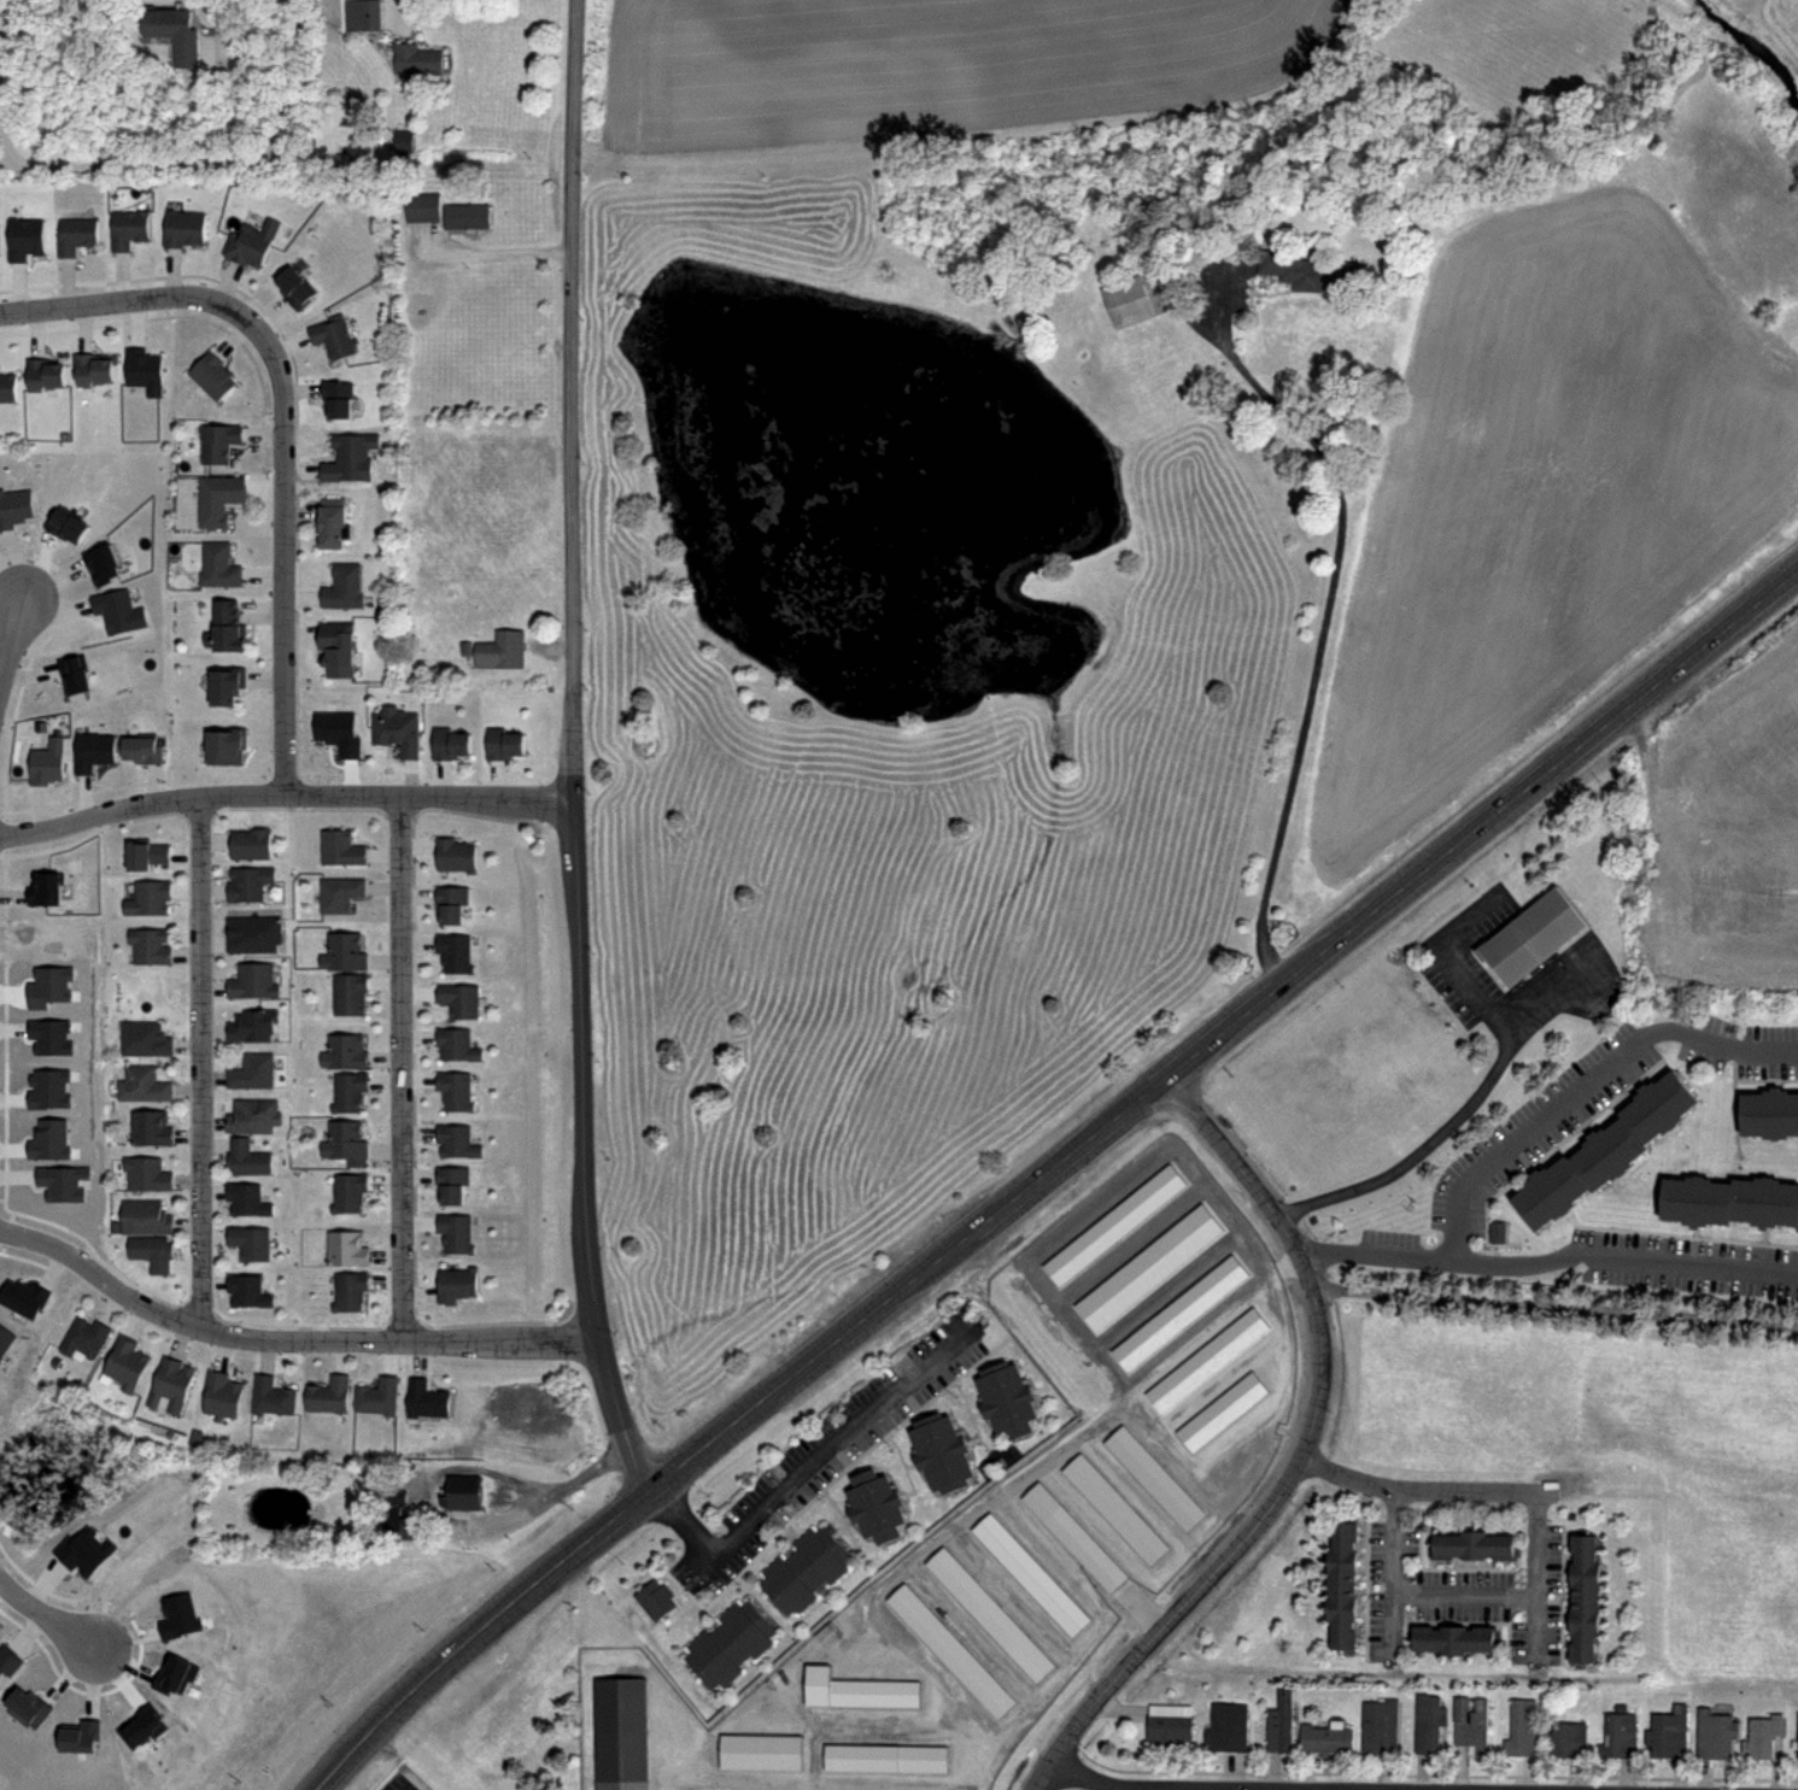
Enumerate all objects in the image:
building: (1, 6)
building: (373, 16)
building: (177, 33)
building: (421, 61)
crop: (1009, 61)
building: (400, 142)
road: (7, 157)
road: (191, 159)
building: (427, 206)
building: (470, 217)
building: (183, 227)
building: (128, 228)
building: (75, 234)
building: (24, 237)
building: (252, 241)
road: (498, 250)
building: (1312, 274)
building: (295, 286)
building: (1125, 301)
building: (333, 335)
building: (95, 366)
building: (145, 369)
building: (45, 372)
building: (211, 375)
building: (7, 386)
building: (338, 397)
road: (285, 426)
building: (217, 441)
crop: (1565, 450)
building: (350, 456)
building: (217, 497)
building: (14, 505)
building: (333, 522)
building: (69, 523)
building: (104, 563)
building: (218, 564)
building: (342, 585)
building: (118, 609)
road: (1322, 615)
building: (229, 627)
road: (10, 639)
building: (339, 646)
building: (500, 648)
building: (75, 674)
building: (227, 685)
building: (398, 729)
building: (339, 730)
building: (451, 743)
building: (505, 743)
building: (232, 746)
building: (146, 751)
road: (573, 751)
building: (96, 753)
building: (51, 764)
road: (285, 796)
building: (254, 843)
building: (340, 845)
crop: (1716, 846)
building: (150, 851)
building: (453, 852)
building: (251, 882)
building: (49, 886)
building: (339, 892)
building: (152, 897)
building: (452, 902)
building: (257, 934)
building: (1531, 935)
building: (153, 943)
building: (342, 949)
building: (453, 951)
road: (1452, 962)
building: (257, 980)
building: (48, 985)
building: (349, 992)
building: (458, 998)
building: (257, 1025)
building: (49, 1034)
building: (148, 1038)
building: (456, 1041)
building: (344, 1050)
road: (201, 1064)
building: (256, 1070)
road: (402, 1070)
building: (146, 1084)
building: (48, 1087)
building: (455, 1088)
building: (347, 1090)
building: (1657, 1103)
building: (1768, 1111)
building: (257, 1116)
road: (1452, 1120)
building: (154, 1127)
road: (1523, 1128)
building: (49, 1138)
building: (457, 1139)
building: (345, 1140)
building: (1605, 1149)
building: (251, 1157)
building: (150, 1173)
road: (1052, 1178)
building: (62, 1181)
building: (452, 1182)
building: (1547, 1190)
building: (349, 1191)
building: (250, 1198)
building: (1694, 1198)
building: (1764, 1201)
building: (150, 1217)
building: (455, 1232)
building: (1493, 1233)
building: (252, 1240)
building: (345, 1245)
building: (157, 1252)
road: (1622, 1266)
building: (455, 1283)
building: (349, 1289)
building: (252, 1290)
building: (23, 1296)
road: (1554, 1304)
building: (1181, 1310)
building: (88, 1336)
building: (5, 1338)
road: (285, 1339)
building: (1211, 1355)
building: (128, 1361)
building: (175, 1381)
building: (224, 1392)
building: (273, 1395)
building: (329, 1395)
building: (380, 1396)
building: (1005, 1398)
building: (428, 1399)
building: (1228, 1408)
building: (938, 1451)
road: (1296, 1461)
road: (803, 1469)
building: (1153, 1478)
road: (1415, 1489)
building: (469, 1492)
road: (546, 1493)
building: (398, 1497)
building: (872, 1507)
building: (1113, 1508)
building: (406, 1527)
building: (1072, 1538)
building: (1472, 1545)
building: (84, 1550)
building: (819, 1555)
building: (1031, 1573)
road: (1392, 1575)
road: (1536, 1580)
building: (789, 1589)
building: (1339, 1589)
road: (1464, 1595)
building: (652, 1598)
building: (1582, 1600)
building: (990, 1613)
building: (178, 1615)
road: (43, 1616)
building: (743, 1630)
building: (826, 1635)
building: (1451, 1639)
building: (951, 1649)
building: (8, 1660)
building: (710, 1661)
building: (175, 1673)
building: (857, 1689)
building: (28, 1707)
building: (1428, 1721)
building: (1471, 1722)
building: (1279, 1724)
building: (141, 1726)
building: (1380, 1726)
building: (1167, 1727)
building: (1226, 1727)
building: (1521, 1727)
building: (1669, 1732)
building: (619, 1733)
building: (1716, 1733)
building: (80, 1735)
building: (1620, 1735)
building: (1797, 1735)
building: (1763, 1736)
building: (1325, 1738)
building: (1568, 1738)
building: (760, 1750)
building: (886, 1757)
road: (1089, 1780)

